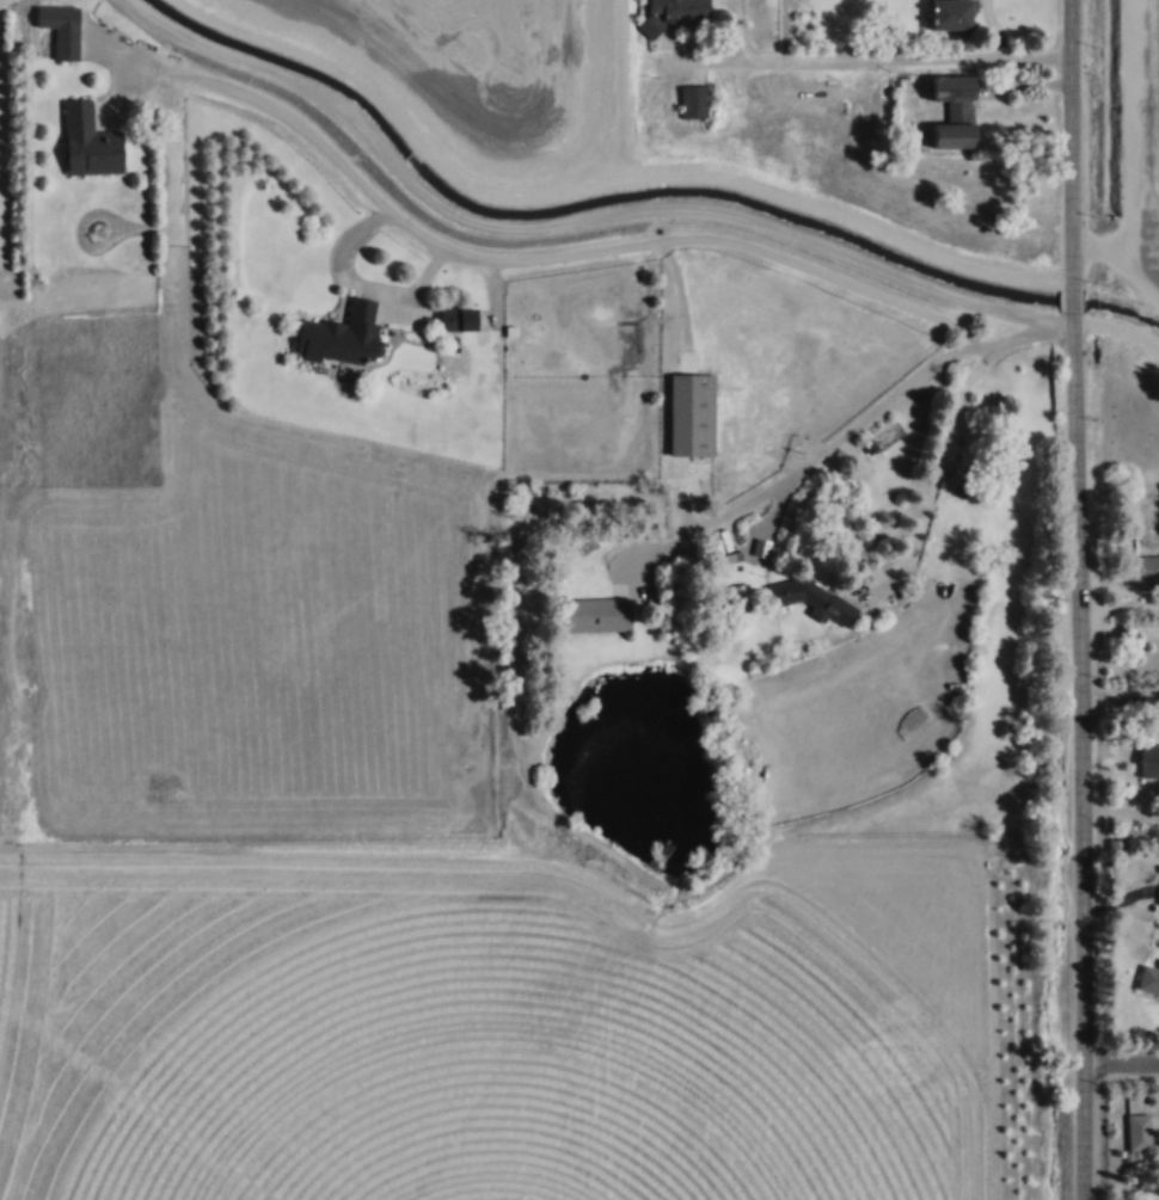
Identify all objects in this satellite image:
building: (680, 10)
building: (949, 14)
building: (65, 43)
road: (887, 57)
road: (180, 76)
building: (952, 93)
building: (692, 101)
road: (1075, 141)
building: (88, 142)
road: (619, 214)
road: (638, 242)
road: (1120, 264)
road: (1075, 299)
building: (456, 320)
building: (341, 336)
road: (863, 424)
building: (670, 447)
road: (943, 466)
building: (1148, 568)
building: (816, 599)
building: (596, 615)
road: (1123, 691)
road: (1089, 757)
building: (1148, 759)
building: (1148, 979)
road: (1123, 1060)
building: (1139, 1131)

